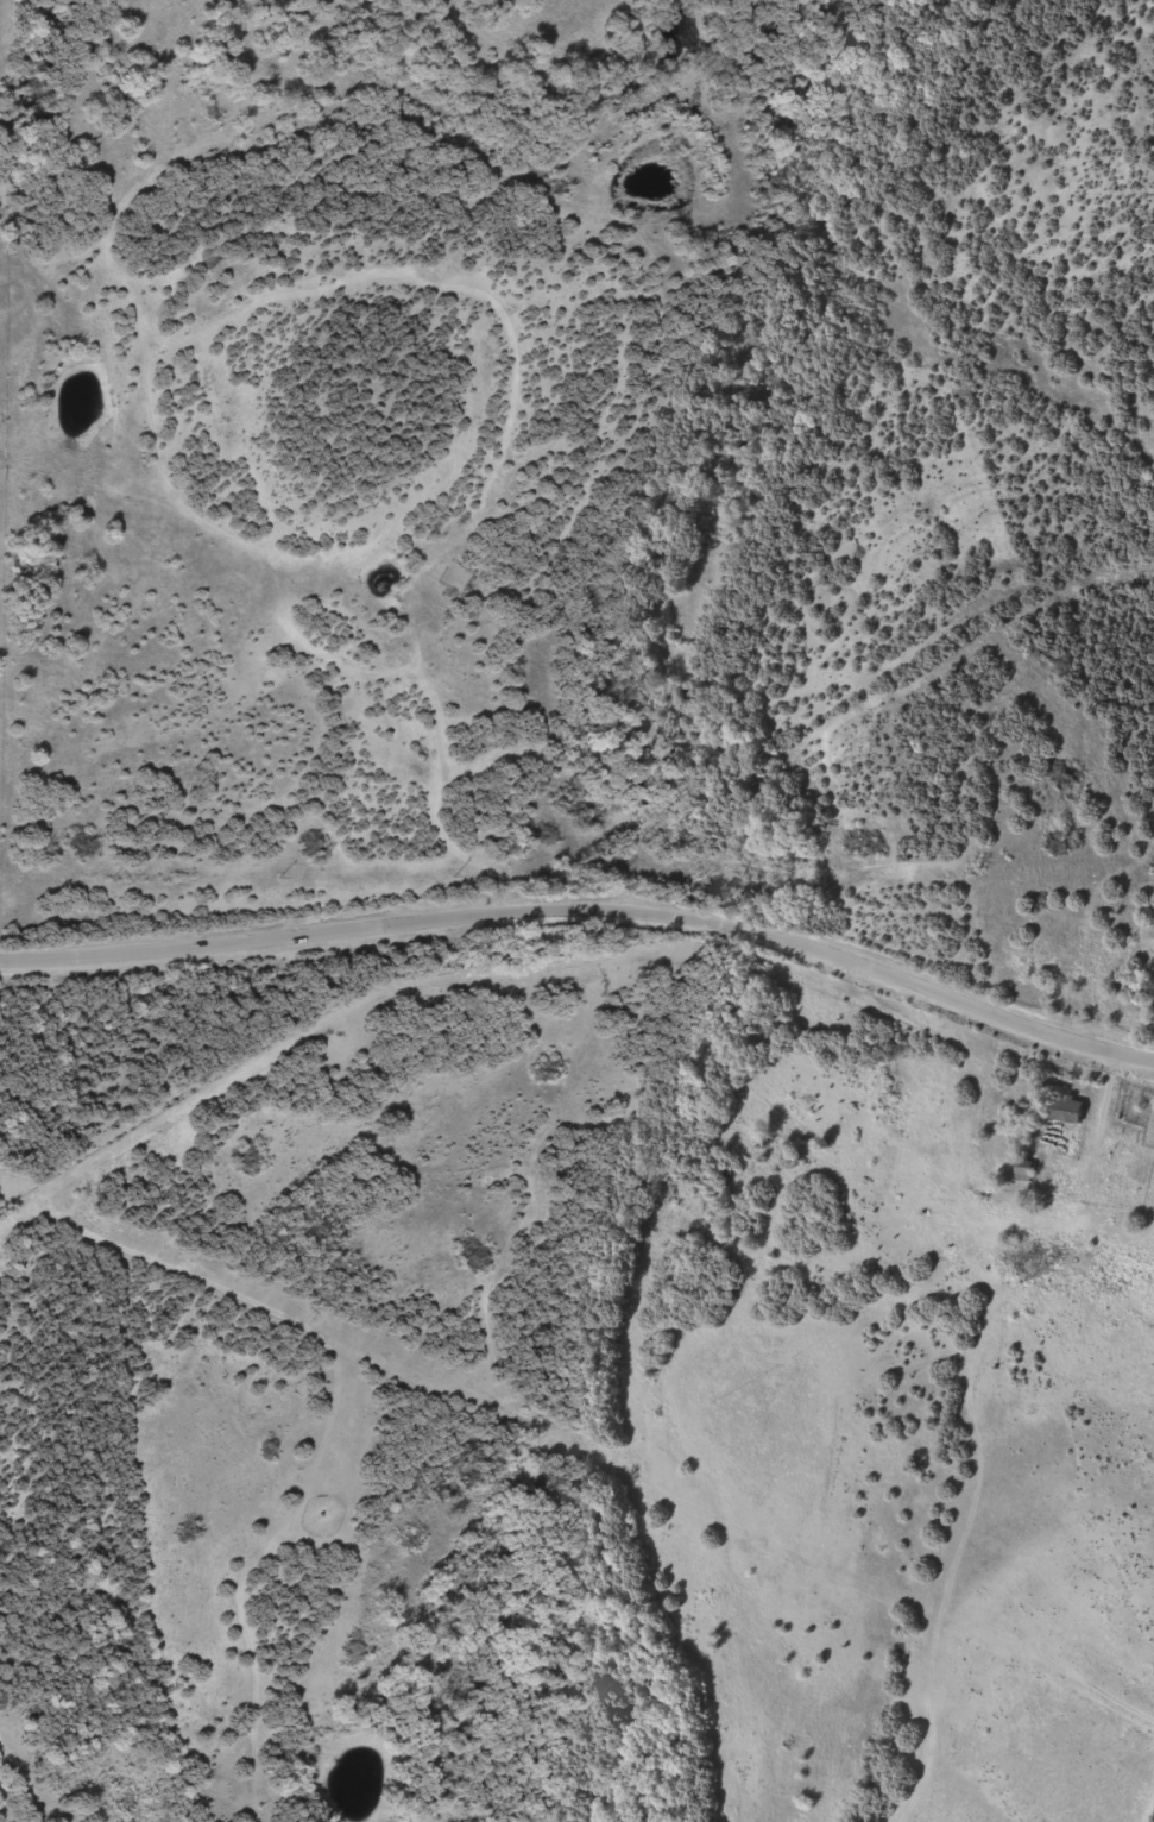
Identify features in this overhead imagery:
road: (586, 915)
building: (1066, 1108)

